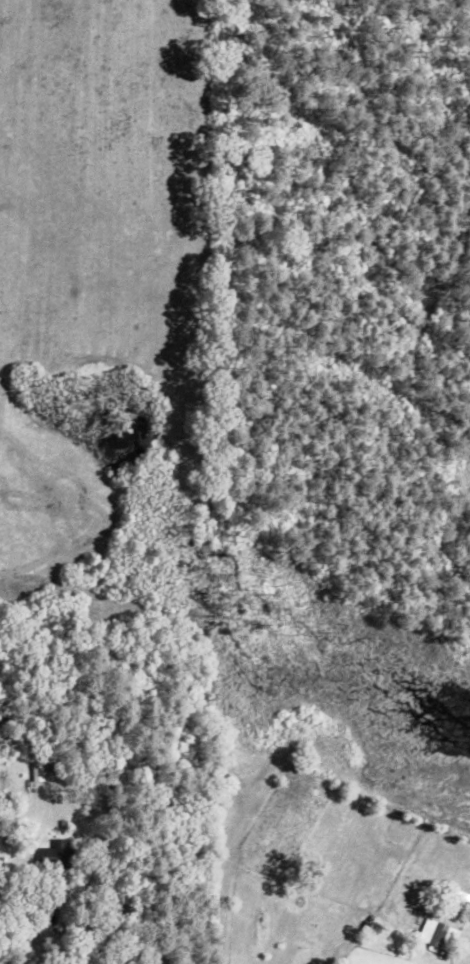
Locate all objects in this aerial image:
building: (38, 772)
building: (63, 853)
building: (441, 934)

